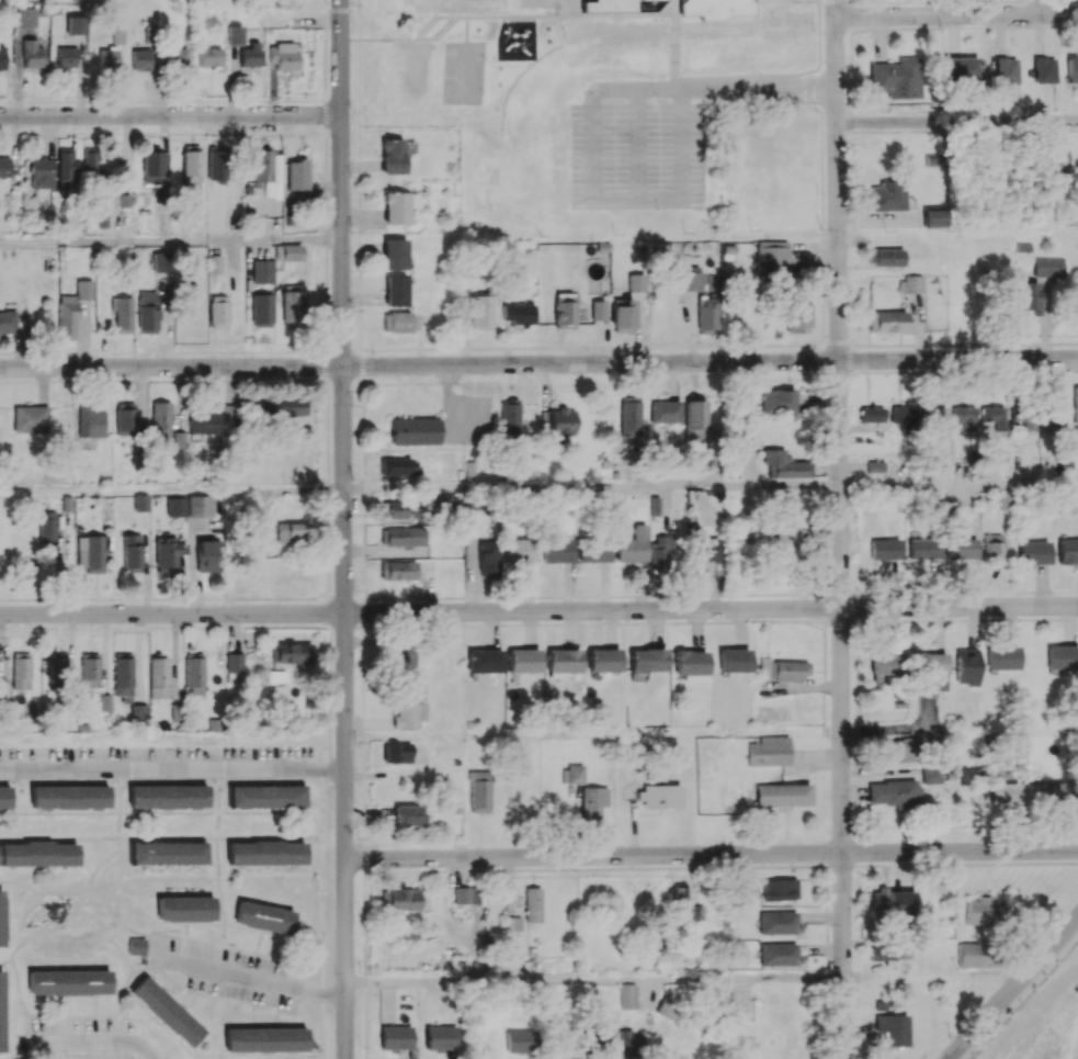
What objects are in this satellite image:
building: (413, 2)
building: (484, 2)
building: (284, 3)
building: (449, 3)
building: (621, 4)
building: (714, 8)
road: (955, 13)
building: (25, 16)
building: (75, 25)
building: (235, 35)
building: (116, 36)
building: (32, 54)
building: (283, 55)
building: (174, 57)
building: (209, 57)
building: (66, 58)
building: (106, 58)
building: (249, 58)
building: (2, 59)
building: (140, 60)
building: (961, 68)
building: (1044, 69)
building: (1073, 69)
building: (1006, 70)
building: (895, 78)
road: (718, 81)
road: (170, 115)
road: (957, 121)
building: (392, 156)
building: (216, 164)
building: (261, 165)
building: (4, 167)
building: (155, 167)
building: (191, 167)
building: (91, 169)
building: (42, 172)
building: (67, 173)
building: (296, 174)
building: (888, 195)
building: (397, 207)
building: (197, 216)
building: (934, 218)
road: (171, 241)
building: (287, 252)
building: (394, 254)
building: (773, 256)
building: (885, 257)
building: (159, 261)
building: (215, 263)
building: (1049, 266)
building: (262, 271)
building: (693, 279)
building: (636, 282)
building: (911, 284)
building: (395, 291)
building: (1028, 296)
building: (292, 306)
building: (71, 308)
building: (261, 309)
building: (564, 309)
building: (598, 309)
building: (122, 312)
building: (147, 312)
building: (218, 312)
building: (481, 312)
building: (798, 313)
building: (519, 314)
building: (622, 315)
building: (707, 315)
building: (399, 322)
building: (887, 322)
building: (7, 323)
road: (538, 363)
road: (839, 365)
building: (778, 401)
building: (1076, 404)
building: (288, 406)
building: (665, 410)
building: (871, 414)
building: (900, 415)
building: (995, 415)
building: (510, 417)
building: (631, 417)
building: (31, 418)
building: (125, 418)
building: (933, 418)
building: (963, 418)
building: (1054, 418)
building: (695, 420)
building: (1023, 420)
building: (90, 421)
building: (561, 421)
building: (160, 423)
building: (203, 423)
building: (415, 430)
building: (178, 440)
building: (784, 464)
building: (397, 466)
building: (874, 466)
road: (939, 485)
road: (592, 488)
road: (172, 491)
building: (1006, 500)
building: (141, 503)
building: (200, 505)
building: (175, 506)
building: (394, 509)
building: (47, 526)
road: (344, 529)
building: (292, 531)
building: (401, 536)
building: (784, 537)
building: (632, 545)
building: (704, 547)
building: (961, 548)
building: (994, 548)
building: (884, 549)
building: (922, 549)
building: (557, 550)
building: (1068, 550)
building: (520, 551)
building: (93, 552)
building: (132, 552)
building: (593, 552)
building: (1034, 552)
building: (659, 553)
building: (166, 555)
building: (208, 555)
building: (488, 556)
building: (398, 570)
road: (711, 608)
road: (172, 612)
building: (292, 652)
building: (1062, 656)
building: (1002, 657)
building: (401, 660)
building: (523, 660)
building: (564, 660)
building: (604, 660)
building: (648, 660)
building: (733, 660)
building: (485, 661)
building: (690, 662)
building: (234, 663)
building: (885, 663)
building: (931, 663)
building: (967, 666)
building: (782, 668)
building: (21, 671)
building: (89, 673)
building: (194, 673)
building: (123, 676)
building: (158, 677)
building: (105, 702)
building: (409, 706)
building: (138, 714)
road: (894, 731)
building: (900, 750)
building: (769, 751)
building: (396, 752)
road: (172, 765)
building: (575, 774)
building: (931, 774)
building: (479, 791)
building: (1049, 791)
building: (894, 792)
building: (1005, 792)
building: (783, 795)
building: (68, 796)
building: (167, 796)
building: (265, 796)
building: (659, 796)
building: (4, 797)
building: (592, 801)
building: (407, 814)
building: (168, 853)
building: (265, 853)
building: (37, 854)
road: (712, 854)
building: (780, 889)
building: (462, 894)
road: (843, 894)
building: (399, 899)
building: (895, 901)
building: (680, 902)
building: (533, 904)
building: (185, 909)
building: (981, 911)
building: (696, 912)
building: (1, 916)
building: (263, 917)
building: (778, 922)
building: (512, 923)
building: (136, 946)
building: (883, 953)
building: (779, 954)
building: (972, 954)
road: (250, 974)
road: (933, 976)
building: (69, 981)
road: (594, 981)
road: (1011, 987)
building: (627, 996)
building: (166, 1011)
building: (1, 1013)
building: (892, 1028)
road: (95, 1037)
building: (396, 1037)
building: (441, 1037)
building: (265, 1039)
building: (520, 1040)
building: (629, 1044)

